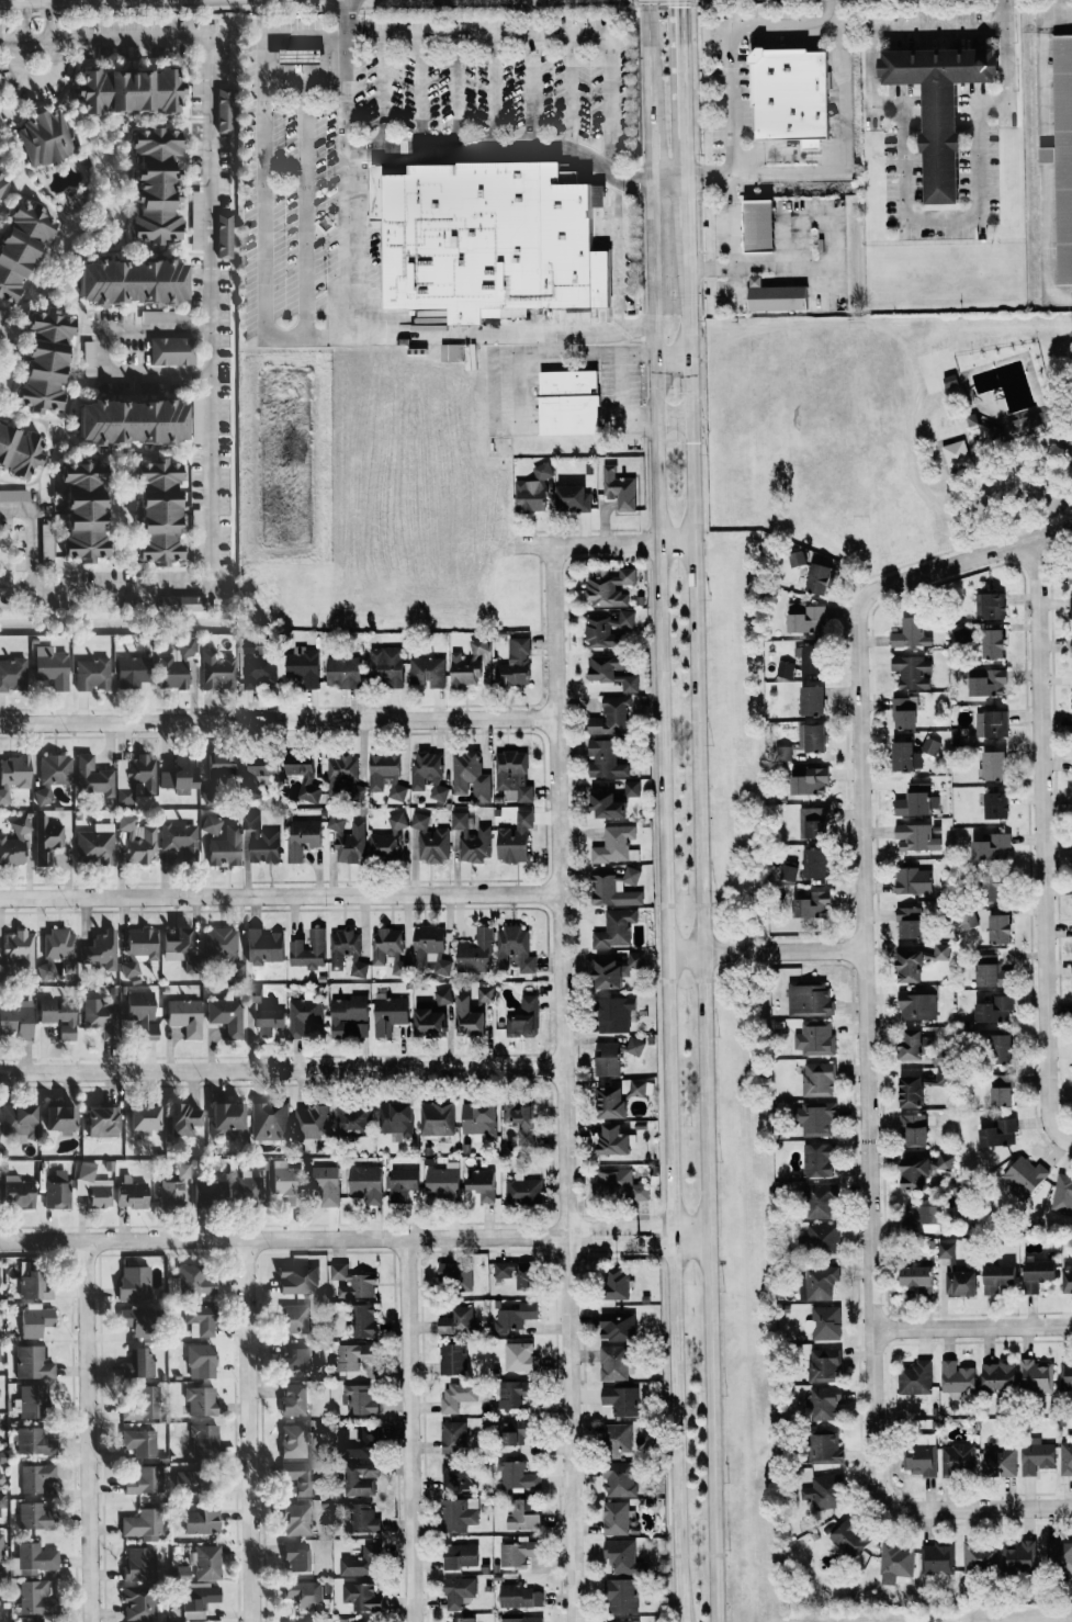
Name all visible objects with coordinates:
road: (35, 2)
traffic signals: (680, 4)
road: (42, 8)
road: (29, 9)
road: (1003, 10)
road: (1058, 16)
road: (22, 26)
road: (49, 26)
road: (11, 41)
road: (732, 50)
building: (302, 55)
gas station: (302, 55)
road: (14, 56)
building: (943, 66)
building: (198, 78)
road: (304, 81)
parking lot: (442, 81)
road: (681, 85)
building: (128, 90)
building: (793, 97)
building: (225, 109)
building: (45, 136)
building: (944, 147)
road: (439, 151)
building: (1062, 154)
road: (839, 158)
road: (591, 168)
road: (667, 171)
building: (1, 178)
building: (156, 184)
road: (262, 198)
road: (682, 199)
road: (902, 202)
building: (196, 219)
building: (761, 226)
building: (224, 235)
road: (734, 239)
building: (465, 240)
building: (21, 245)
road: (758, 266)
building: (133, 281)
building: (777, 300)
building: (163, 316)
road: (414, 333)
road: (210, 339)
road: (103, 349)
building: (172, 350)
building: (452, 352)
building: (89, 358)
building: (45, 360)
road: (511, 388)
building: (571, 402)
building: (1042, 416)
building: (196, 419)
building: (132, 421)
building: (998, 432)
building: (19, 450)
building: (956, 452)
road: (1016, 478)
building: (619, 487)
building: (532, 491)
building: (14, 495)
building: (573, 497)
building: (84, 508)
building: (159, 511)
building: (198, 533)
road: (33, 534)
building: (46, 542)
road: (601, 543)
building: (798, 556)
road: (967, 560)
building: (1070, 575)
building: (821, 578)
building: (609, 586)
building: (183, 602)
building: (991, 605)
building: (1071, 612)
building: (624, 618)
building: (806, 619)
building: (601, 631)
building: (911, 633)
building: (962, 633)
building: (993, 643)
building: (811, 657)
building: (258, 662)
building: (470, 663)
building: (516, 663)
building: (52, 665)
building: (176, 665)
building: (304, 665)
building: (386, 665)
building: (217, 669)
building: (613, 669)
building: (786, 669)
building: (427, 671)
building: (913, 671)
building: (133, 672)
building: (343, 672)
building: (12, 674)
building: (92, 674)
building: (988, 680)
building: (812, 699)
building: (905, 712)
building: (611, 717)
building: (1071, 720)
road: (278, 721)
building: (992, 723)
building: (812, 736)
building: (930, 746)
building: (783, 752)
building: (906, 756)
building: (605, 758)
building: (223, 763)
building: (263, 765)
building: (994, 765)
building: (429, 773)
building: (13, 774)
building: (180, 774)
building: (386, 774)
building: (52, 775)
building: (470, 775)
building: (514, 775)
building: (93, 776)
building: (305, 780)
building: (810, 780)
building: (632, 787)
building: (207, 796)
building: (915, 799)
building: (996, 804)
building: (608, 806)
road: (662, 811)
building: (814, 822)
building: (211, 824)
building: (916, 836)
building: (303, 837)
building: (348, 837)
building: (472, 837)
building: (516, 837)
building: (46, 838)
building: (180, 838)
building: (388, 838)
building: (137, 840)
building: (428, 840)
building: (260, 841)
building: (14, 843)
building: (95, 844)
building: (613, 844)
building: (226, 846)
building: (992, 847)
road: (1041, 848)
building: (815, 861)
building: (913, 880)
building: (616, 888)
building: (996, 888)
road: (280, 896)
building: (813, 904)
building: (970, 919)
building: (910, 922)
road: (703, 924)
building: (1000, 927)
building: (616, 928)
building: (222, 940)
building: (264, 946)
building: (180, 947)
building: (390, 948)
building: (515, 948)
building: (139, 949)
building: (308, 949)
building: (430, 949)
building: (100, 950)
building: (347, 950)
building: (941, 950)
building: (16, 951)
building: (57, 951)
building: (476, 951)
road: (765, 951)
building: (910, 965)
building: (614, 968)
building: (991, 971)
building: (486, 993)
building: (255, 995)
building: (809, 998)
building: (917, 1005)
building: (995, 1009)
building: (144, 1012)
building: (390, 1012)
building: (614, 1013)
building: (304, 1014)
building: (432, 1014)
building: (59, 1015)
building: (185, 1015)
building: (226, 1015)
building: (101, 1016)
building: (350, 1016)
building: (470, 1017)
building: (523, 1017)
building: (16, 1018)
building: (270, 1021)
building: (815, 1037)
building: (635, 1046)
building: (923, 1047)
building: (1000, 1048)
road: (867, 1051)
building: (608, 1058)
road: (281, 1069)
building: (819, 1079)
road: (562, 1083)
building: (637, 1086)
building: (916, 1089)
building: (1002, 1089)
building: (611, 1102)
building: (144, 1116)
building: (60, 1117)
building: (353, 1117)
building: (437, 1117)
building: (815, 1117)
building: (183, 1118)
building: (227, 1118)
building: (397, 1118)
building: (520, 1118)
building: (20, 1119)
building: (481, 1119)
building: (102, 1120)
building: (270, 1120)
building: (313, 1120)
building: (914, 1128)
building: (1000, 1133)
building: (613, 1139)
building: (944, 1158)
building: (819, 1159)
building: (87, 1170)
building: (183, 1170)
building: (915, 1172)
building: (1024, 1175)
building: (366, 1182)
building: (442, 1182)
building: (402, 1183)
building: (482, 1183)
building: (327, 1184)
building: (619, 1184)
building: (57, 1190)
building: (249, 1190)
building: (523, 1190)
building: (132, 1192)
building: (172, 1192)
building: (211, 1192)
building: (20, 1194)
building: (1062, 1194)
building: (99, 1195)
building: (821, 1199)
building: (916, 1214)
building: (822, 1237)
road: (352, 1238)
building: (948, 1252)
building: (516, 1272)
building: (1038, 1273)
building: (455, 1274)
building: (997, 1276)
building: (917, 1277)
building: (298, 1279)
building: (194, 1280)
building: (352, 1281)
building: (819, 1281)
building: (1068, 1281)
building: (134, 1282)
building: (960, 1282)
building: (617, 1284)
building: (516, 1316)
building: (295, 1318)
building: (200, 1319)
building: (364, 1319)
building: (36, 1320)
building: (137, 1320)
building: (458, 1320)
building: (824, 1322)
building: (618, 1325)
road: (972, 1328)
building: (354, 1354)
building: (521, 1356)
building: (453, 1358)
building: (295, 1359)
building: (201, 1360)
building: (33, 1362)
building: (616, 1362)
building: (139, 1364)
building: (824, 1364)
building: (1067, 1374)
building: (998, 1375)
building: (1036, 1375)
building: (916, 1377)
building: (957, 1377)
building: (515, 1392)
building: (458, 1395)
building: (293, 1398)
building: (360, 1398)
building: (621, 1399)
building: (34, 1400)
building: (201, 1400)
building: (824, 1401)
building: (142, 1403)
road: (248, 1430)
road: (409, 1430)
road: (90, 1431)
building: (515, 1431)
building: (453, 1437)
building: (619, 1437)
building: (205, 1440)
building: (295, 1440)
building: (34, 1441)
building: (140, 1441)
building: (827, 1448)
building: (1037, 1454)
building: (1065, 1457)
building: (919, 1458)
building: (958, 1458)
building: (1000, 1461)
building: (458, 1473)
building: (518, 1475)
building: (36, 1476)
building: (302, 1476)
building: (360, 1477)
building: (146, 1478)
building: (189, 1478)
building: (620, 1478)
building: (826, 1490)
building: (1, 1503)
road: (978, 1509)
building: (460, 1513)
building: (524, 1513)
building: (36, 1516)
building: (617, 1517)
building: (364, 1518)
building: (296, 1519)
building: (202, 1521)
building: (143, 1524)
building: (850, 1536)
building: (1, 1546)
building: (519, 1552)
building: (1059, 1554)
building: (295, 1555)
building: (461, 1555)
building: (1018, 1555)
building: (624, 1556)
building: (980, 1556)
building: (35, 1557)
building: (937, 1557)
building: (362, 1561)
building: (207, 1562)
building: (895, 1562)
building: (139, 1563)
building: (2, 1574)
building: (459, 1590)
building: (304, 1595)
building: (622, 1595)
building: (361, 1596)
building: (520, 1596)
building: (36, 1598)
building: (199, 1598)
building: (138, 1602)
building: (463, 1619)
building: (521, 1619)
building: (37, 1621)
building: (300, 1621)
building: (364, 1621)
building: (623, 1621)

